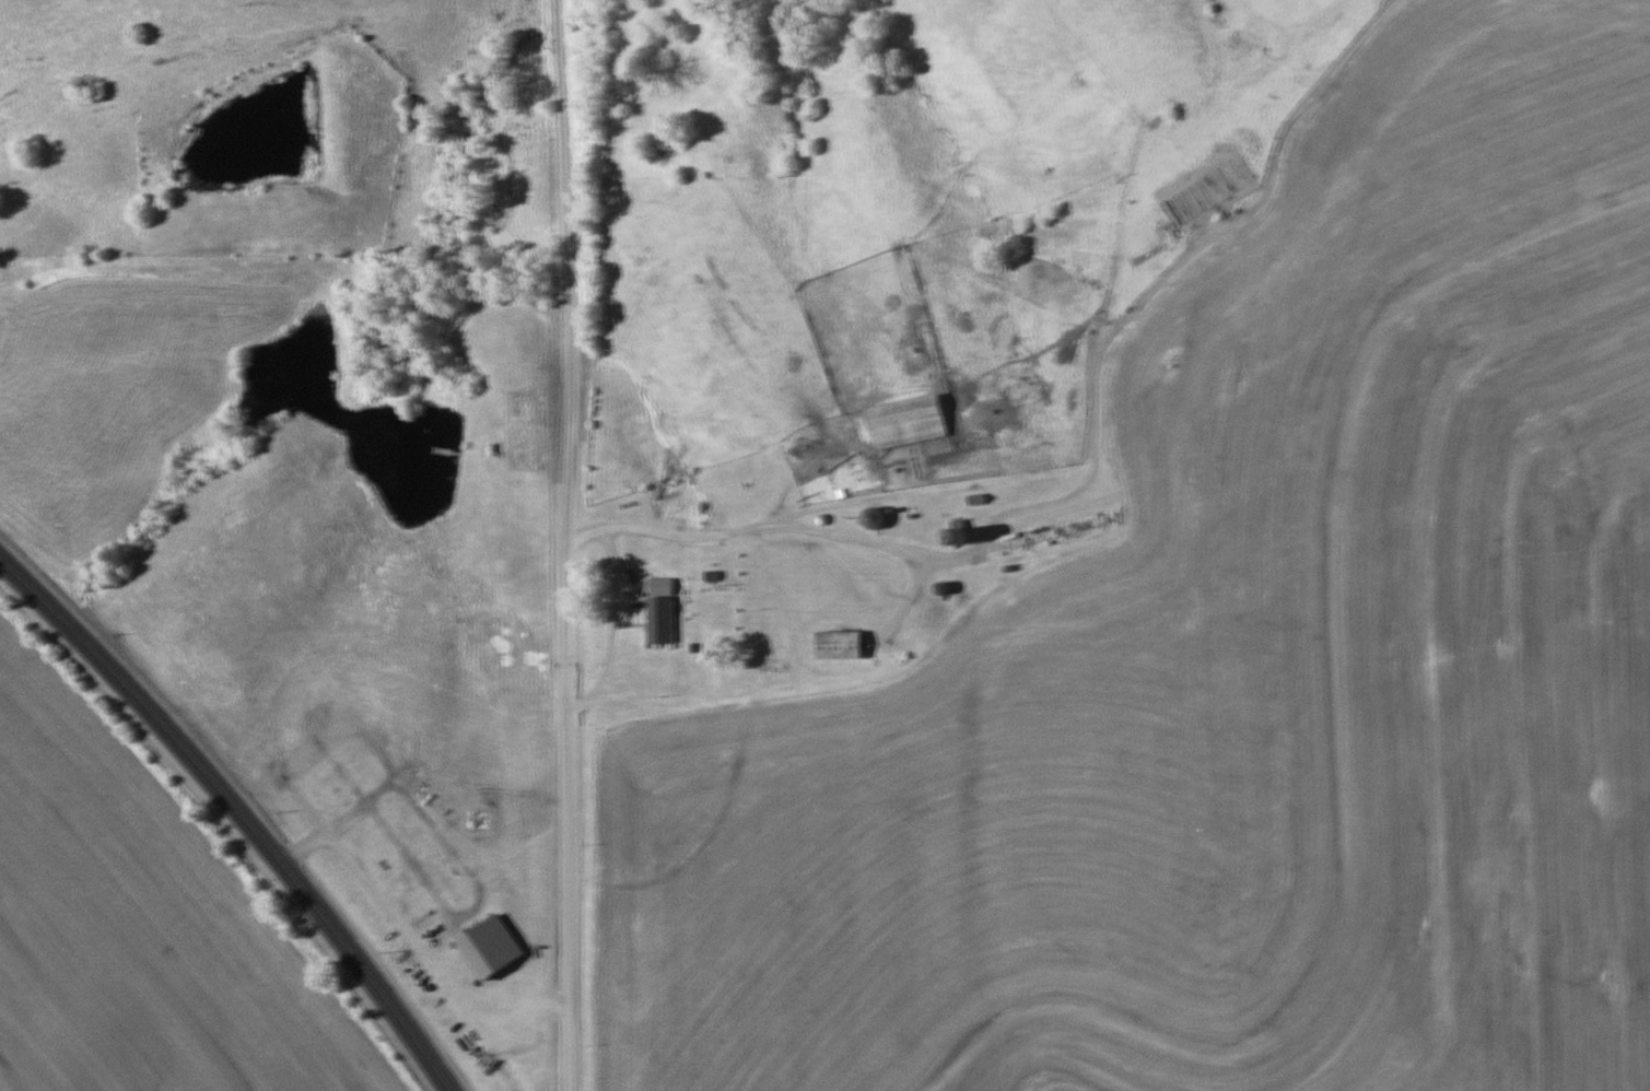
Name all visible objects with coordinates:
building: (905, 421)
building: (874, 518)
building: (957, 531)
road: (570, 544)
road: (619, 610)
building: (659, 611)
building: (838, 645)
road: (239, 811)
building: (488, 947)

